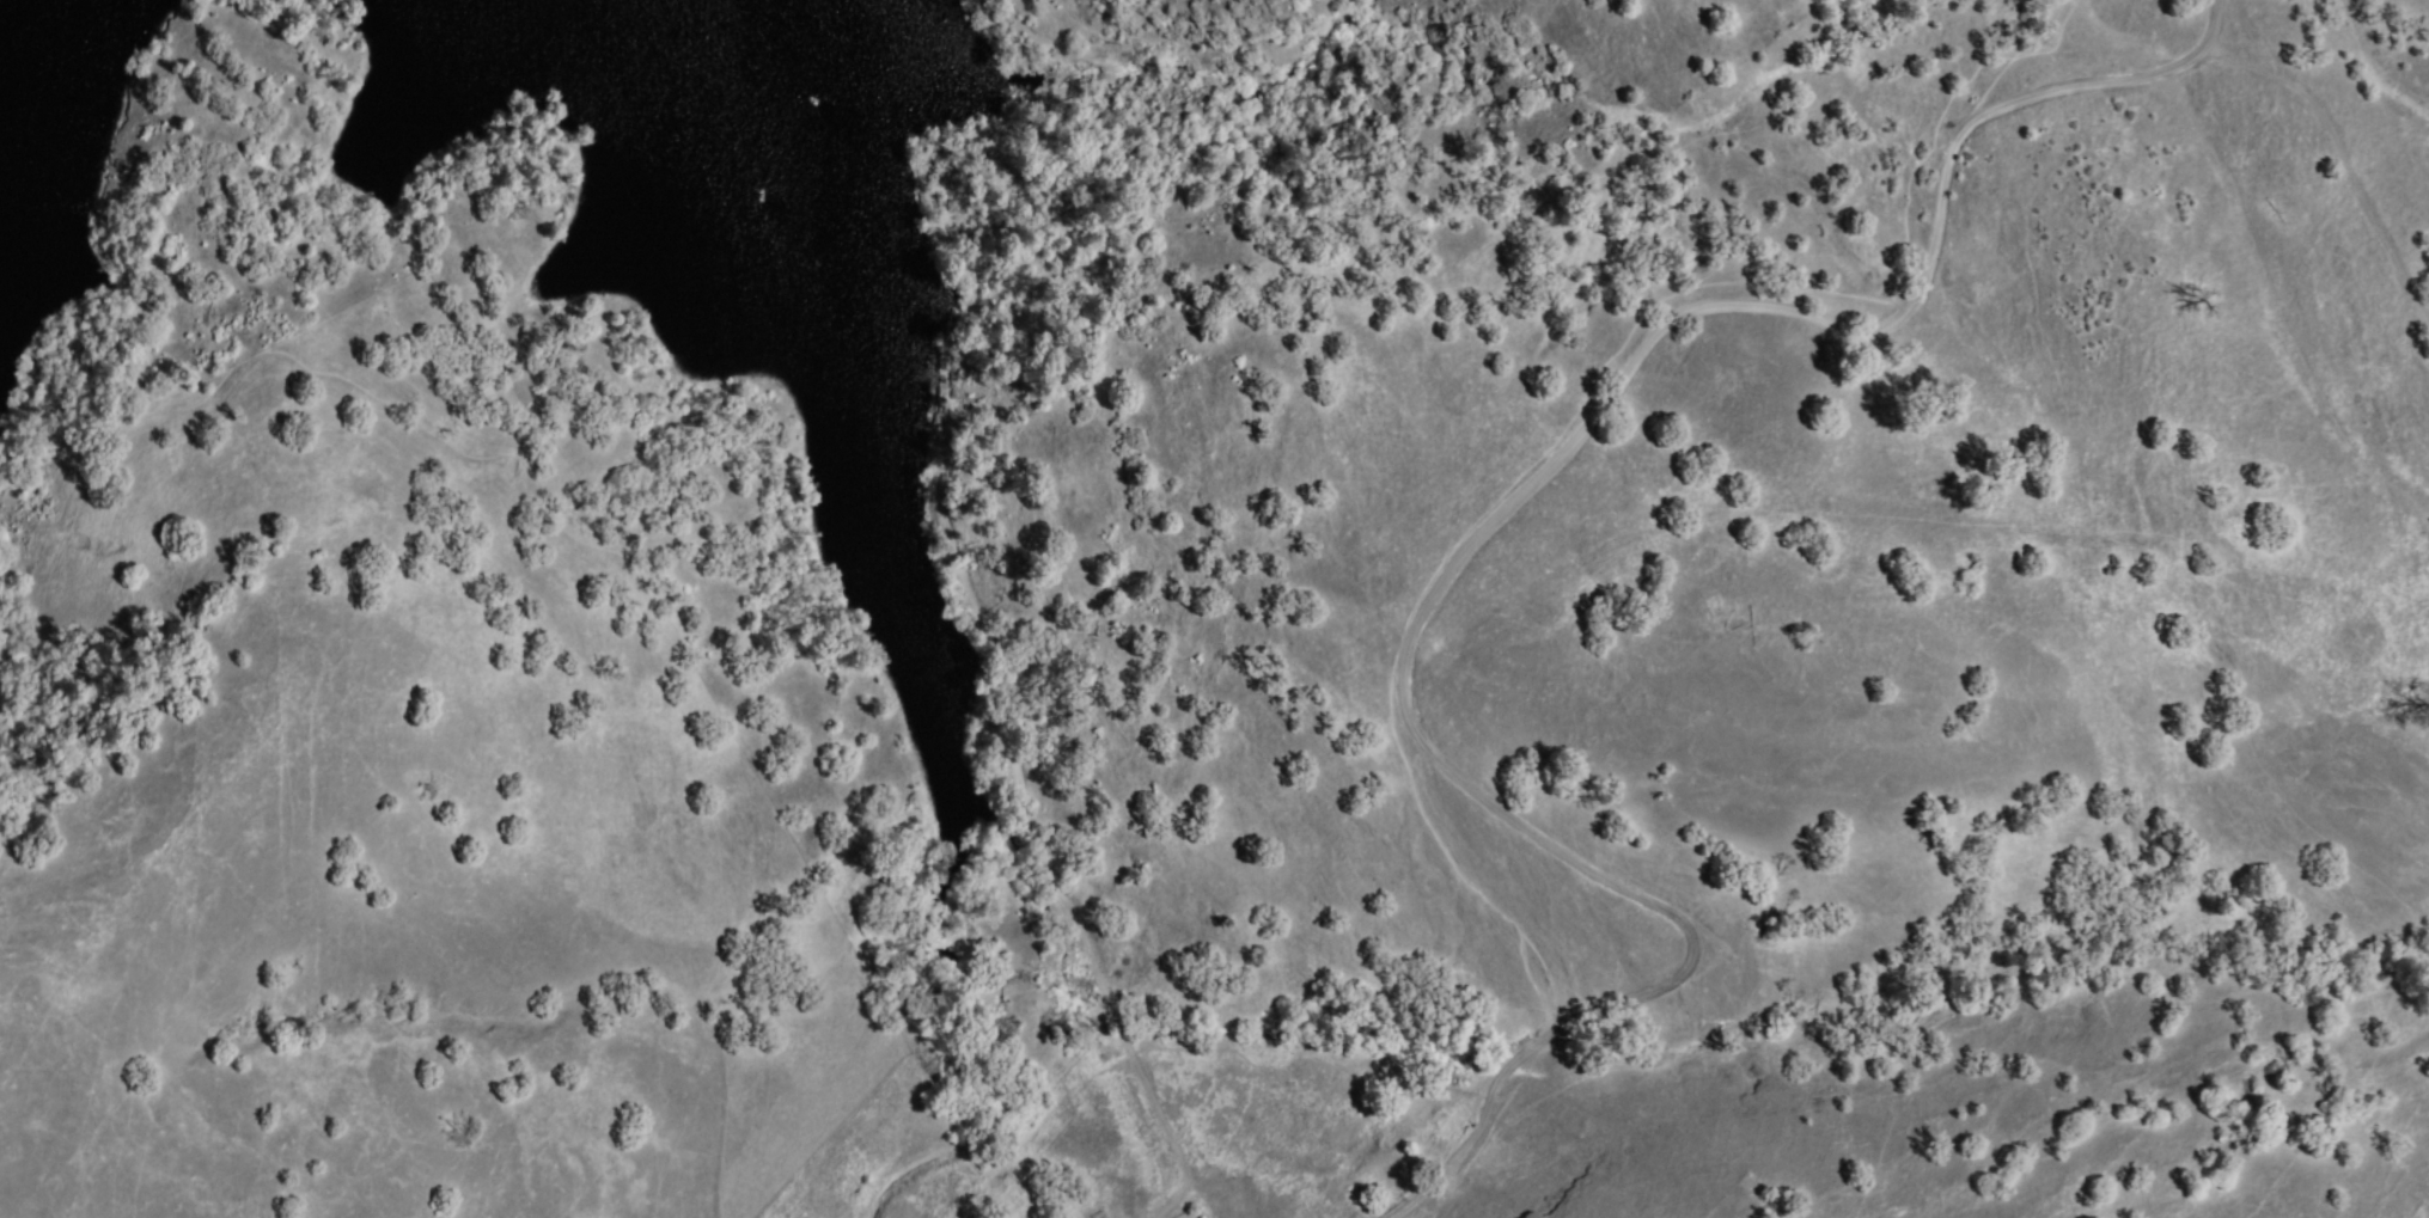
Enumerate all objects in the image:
road: (1490, 525)

